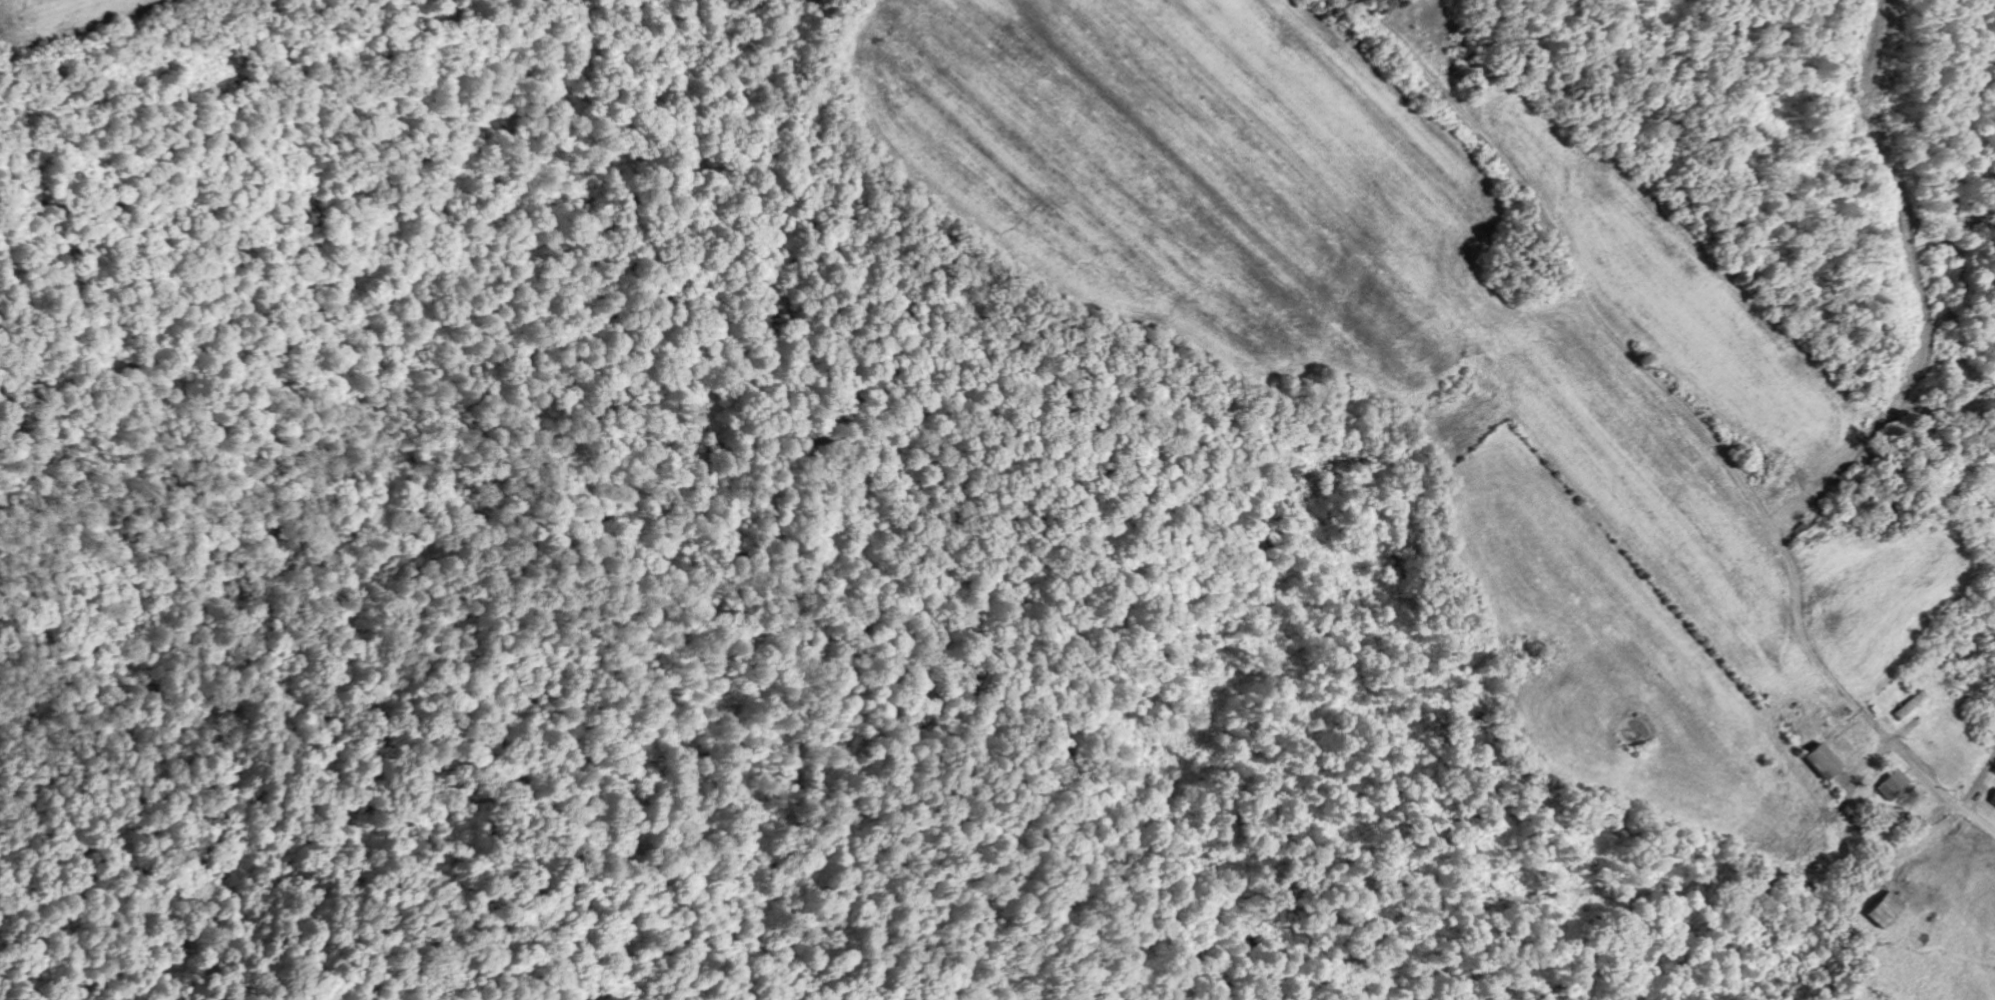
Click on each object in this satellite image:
building: (1822, 761)
building: (1893, 784)
building: (1992, 799)
road: (1978, 823)
building: (1917, 825)
building: (1885, 909)

